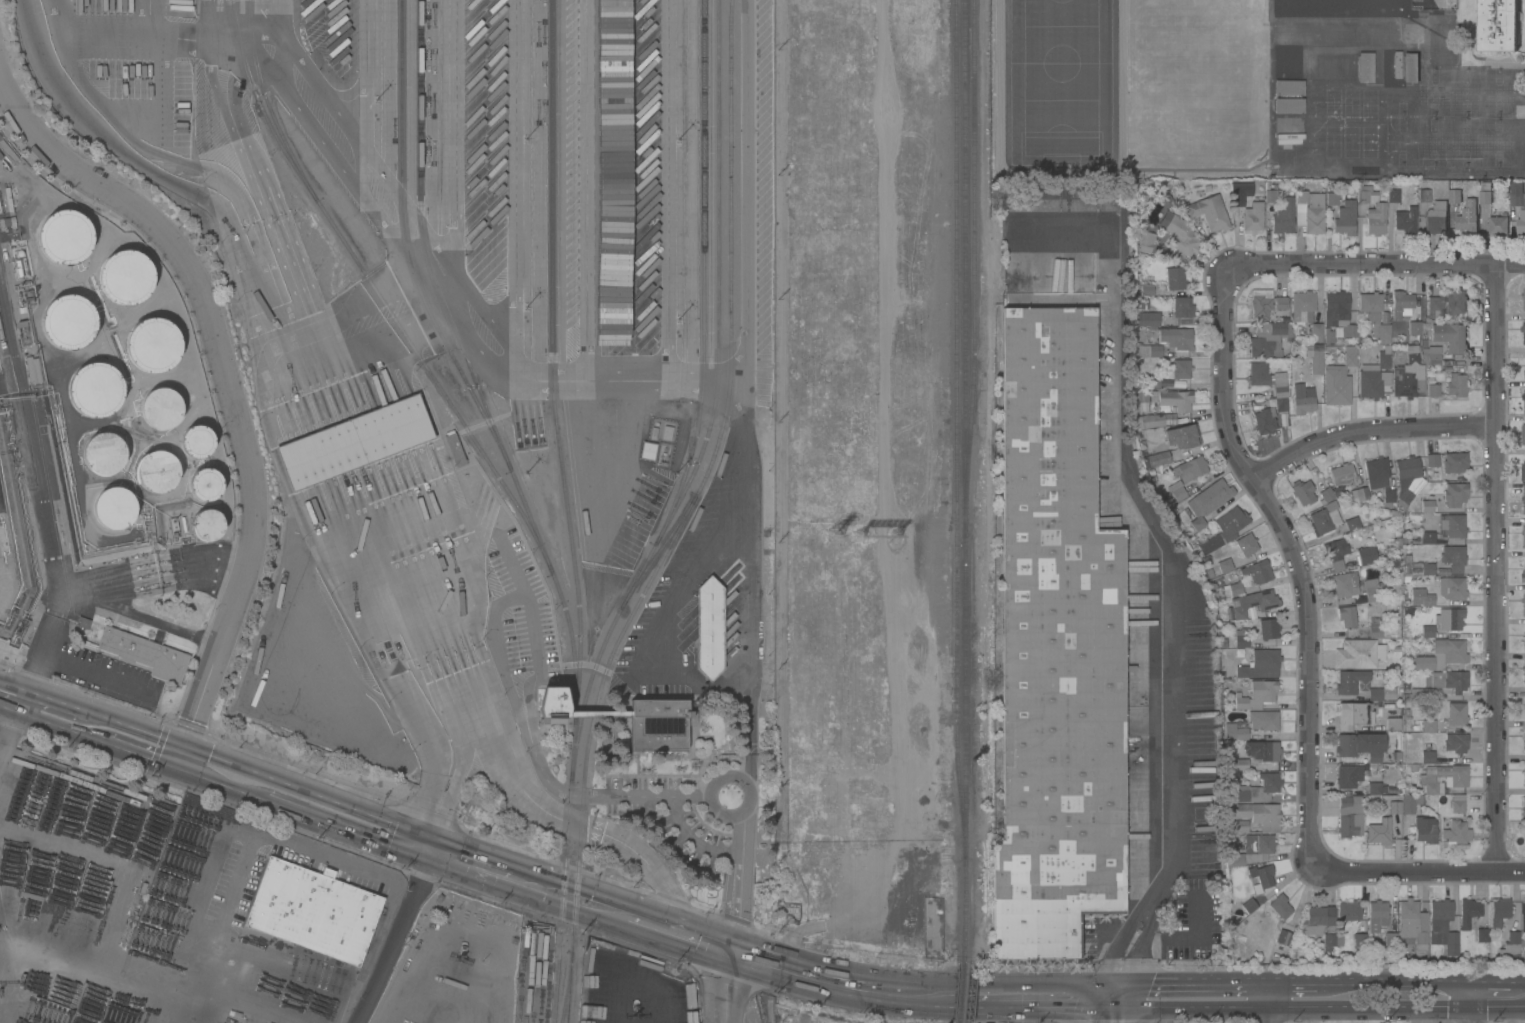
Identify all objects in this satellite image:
building: (614, 4)
building: (640, 4)
building: (1344, 7)
road: (148, 20)
road: (1353, 20)
road: (213, 21)
building: (1496, 26)
road: (283, 34)
building: (1338, 35)
road: (119, 39)
building: (640, 43)
building: (614, 45)
building: (1445, 45)
building: (1287, 62)
building: (1396, 65)
building: (1365, 67)
building: (1410, 67)
building: (1334, 68)
building: (1288, 87)
road: (360, 93)
railway: (260, 100)
building: (1288, 105)
building: (640, 110)
building: (614, 112)
building: (1288, 125)
building: (1287, 139)
road: (454, 154)
building: (1305, 166)
building: (640, 178)
road: (518, 179)
building: (613, 180)
road: (666, 192)
road: (595, 193)
building: (1365, 194)
building: (1270, 196)
building: (1392, 196)
building: (1423, 196)
building: (1454, 196)
building: (1485, 197)
building: (1331, 199)
building: (1518, 204)
building: (1250, 210)
building: (1309, 211)
building: (1209, 213)
building: (1436, 217)
building: (1283, 218)
building: (1345, 218)
building: (1375, 219)
building: (1405, 220)
building: (1465, 220)
building: (1498, 223)
building: (1178, 234)
railway: (423, 236)
building: (64, 237)
building: (1144, 241)
building: (640, 247)
building: (614, 248)
railway: (971, 264)
railway: (705, 267)
road: (1377, 267)
building: (125, 277)
building: (1174, 278)
railway: (373, 285)
building: (1146, 290)
road: (433, 291)
building: (1523, 298)
building: (640, 299)
building: (1455, 302)
building: (1260, 304)
building: (1401, 304)
building: (1280, 306)
building: (1370, 306)
building: (1181, 307)
building: (1434, 308)
building: (1338, 312)
building: (1306, 314)
building: (1148, 319)
building: (68, 322)
building: (1523, 330)
building: (1413, 332)
building: (1381, 333)
building: (1328, 335)
building: (1449, 337)
building: (1176, 338)
building: (1268, 339)
building: (152, 345)
building: (1148, 351)
building: (1430, 355)
building: (1412, 356)
building: (1379, 360)
railway: (553, 362)
building: (1316, 362)
building: (1180, 369)
building: (33, 371)
road: (320, 374)
building: (1258, 374)
building: (1338, 380)
building: (1152, 382)
road: (232, 383)
building: (1372, 383)
building: (1405, 384)
building: (1279, 385)
building: (1456, 385)
building: (95, 390)
building: (1433, 391)
railway: (474, 393)
road: (746, 393)
building: (1141, 396)
building: (1152, 397)
building: (1175, 399)
building: (1524, 399)
building: (1302, 403)
building: (1281, 405)
railway: (715, 406)
building: (160, 408)
building: (1154, 420)
building: (1263, 421)
railway: (953, 429)
road: (1371, 429)
building: (1523, 434)
building: (1182, 437)
building: (196, 442)
building: (354, 442)
building: (454, 450)
building: (647, 450)
building: (103, 454)
building: (1156, 459)
building: (1431, 460)
building: (1454, 462)
building: (1189, 469)
building: (1523, 471)
building: (157, 472)
building: (1343, 475)
building: (1379, 479)
building: (1407, 479)
railway: (705, 481)
railway: (962, 481)
building: (204, 485)
building: (1302, 492)
building: (1177, 493)
building: (1360, 493)
building: (1454, 494)
building: (1325, 495)
road: (44, 498)
building: (1207, 501)
building: (1427, 502)
building: (1523, 503)
building: (113, 508)
building: (1184, 517)
building: (1324, 518)
building: (1352, 524)
building: (206, 525)
building: (1452, 526)
building: (1223, 530)
power tower: (856, 535)
building: (1523, 535)
building: (1427, 537)
power tower: (832, 539)
power tower: (868, 539)
power tower: (893, 541)
building: (1246, 544)
railway: (663, 549)
building: (1335, 553)
building: (1365, 555)
building: (1453, 558)
road: (1294, 559)
building: (1224, 566)
road: (1497, 568)
building: (1423, 569)
building: (1256, 572)
building: (1523, 576)
building: (1344, 587)
building: (1232, 589)
building: (1370, 589)
building: (1451, 589)
building: (1427, 600)
building: (1524, 602)
building: (1253, 603)
building: (1346, 617)
road: (145, 619)
building: (1449, 619)
building: (1374, 627)
building: (709, 628)
building: (1268, 629)
building: (1427, 632)
building: (1241, 637)
building: (1524, 644)
building: (1055, 648)
building: (144, 654)
building: (1358, 654)
building: (1441, 655)
road: (389, 656)
building: (1524, 662)
building: (1260, 665)
building: (1524, 667)
road: (98, 675)
building: (1449, 680)
building: (1349, 681)
building: (1363, 686)
building: (1375, 694)
building: (1419, 694)
building: (1255, 695)
road: (13, 699)
road: (63, 704)
building: (550, 705)
building: (1524, 708)
building: (597, 714)
building: (1456, 714)
building: (1352, 715)
building: (1263, 720)
road: (8, 723)
building: (1392, 724)
building: (659, 725)
building: (1422, 725)
road: (51, 726)
building: (1524, 732)
road: (536, 742)
building: (1455, 743)
building: (1360, 746)
traffic signals: (184, 748)
building: (1262, 751)
building: (1427, 753)
road: (130, 754)
building: (1239, 764)
building: (1524, 769)
traffic signals: (176, 771)
road: (255, 773)
road: (727, 776)
building: (1348, 776)
building: (1443, 779)
building: (1373, 788)
building: (1259, 789)
road: (1175, 802)
building: (1409, 805)
building: (34, 806)
building: (1393, 807)
building: (1457, 807)
building: (1523, 808)
road: (289, 811)
building: (1260, 815)
building: (1349, 816)
road: (573, 824)
building: (1240, 827)
building: (1378, 831)
building: (1456, 833)
building: (1425, 834)
building: (1523, 836)
traffic signals: (413, 843)
road: (417, 844)
road: (306, 848)
traffic signals: (430, 849)
building: (1251, 850)
railway: (563, 858)
road: (479, 866)
road: (1417, 870)
building: (1261, 877)
road: (741, 884)
road: (576, 899)
road: (405, 906)
building: (1248, 906)
building: (1279, 906)
building: (312, 911)
building: (1349, 911)
building: (1468, 912)
building: (1499, 912)
building: (1376, 915)
building: (1522, 916)
building: (1412, 924)
building: (1319, 925)
building: (1442, 926)
road: (657, 927)
building: (1482, 935)
building: (1280, 936)
building: (1390, 939)
building: (1359, 940)
road: (711, 945)
building: (1510, 945)
road: (1120, 946)
road: (1140, 951)
traffic signals: (734, 953)
road: (784, 967)
railway: (557, 979)
road: (156, 980)
railway: (569, 980)
road: (1312, 982)
road: (1413, 982)
road: (1497, 983)
road: (1027, 984)
road: (1210, 984)
road: (1524, 984)
traffic signals: (1101, 985)
road: (1114, 985)
traffic signals: (1128, 986)
road: (1140, 986)
railway: (567, 987)
road: (730, 988)
road: (896, 992)
railway: (958, 992)
road: (366, 993)
road: (1098, 997)
road: (1125, 997)
road: (1471, 1002)
road: (1269, 1003)
road: (177, 1004)
road: (1522, 1009)
road: (1024, 1010)
traffic signals: (1096, 1010)
road: (1109, 1010)
traffic signals: (1123, 1010)
road: (1135, 1010)
road: (1333, 1010)
building: (690, 1016)
road: (1094, 1016)
road: (1122, 1016)

